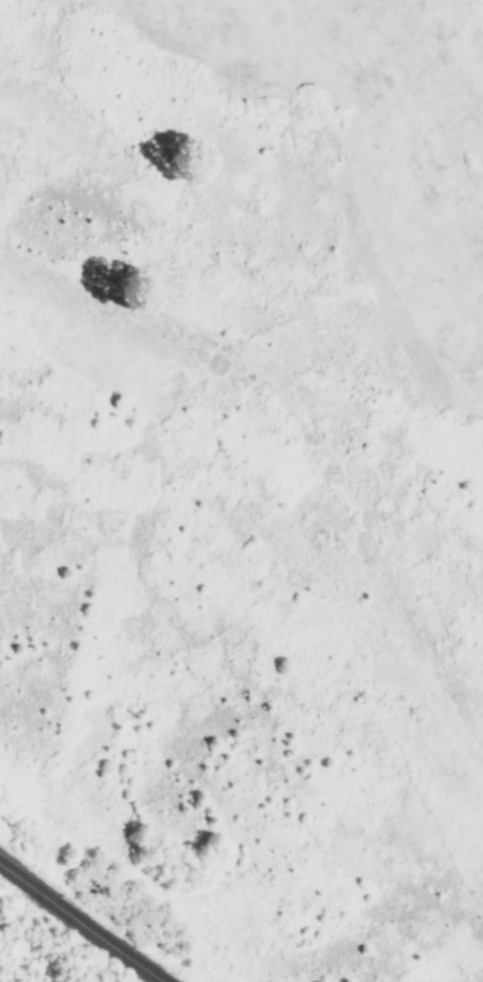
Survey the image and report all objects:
road: (81, 925)

